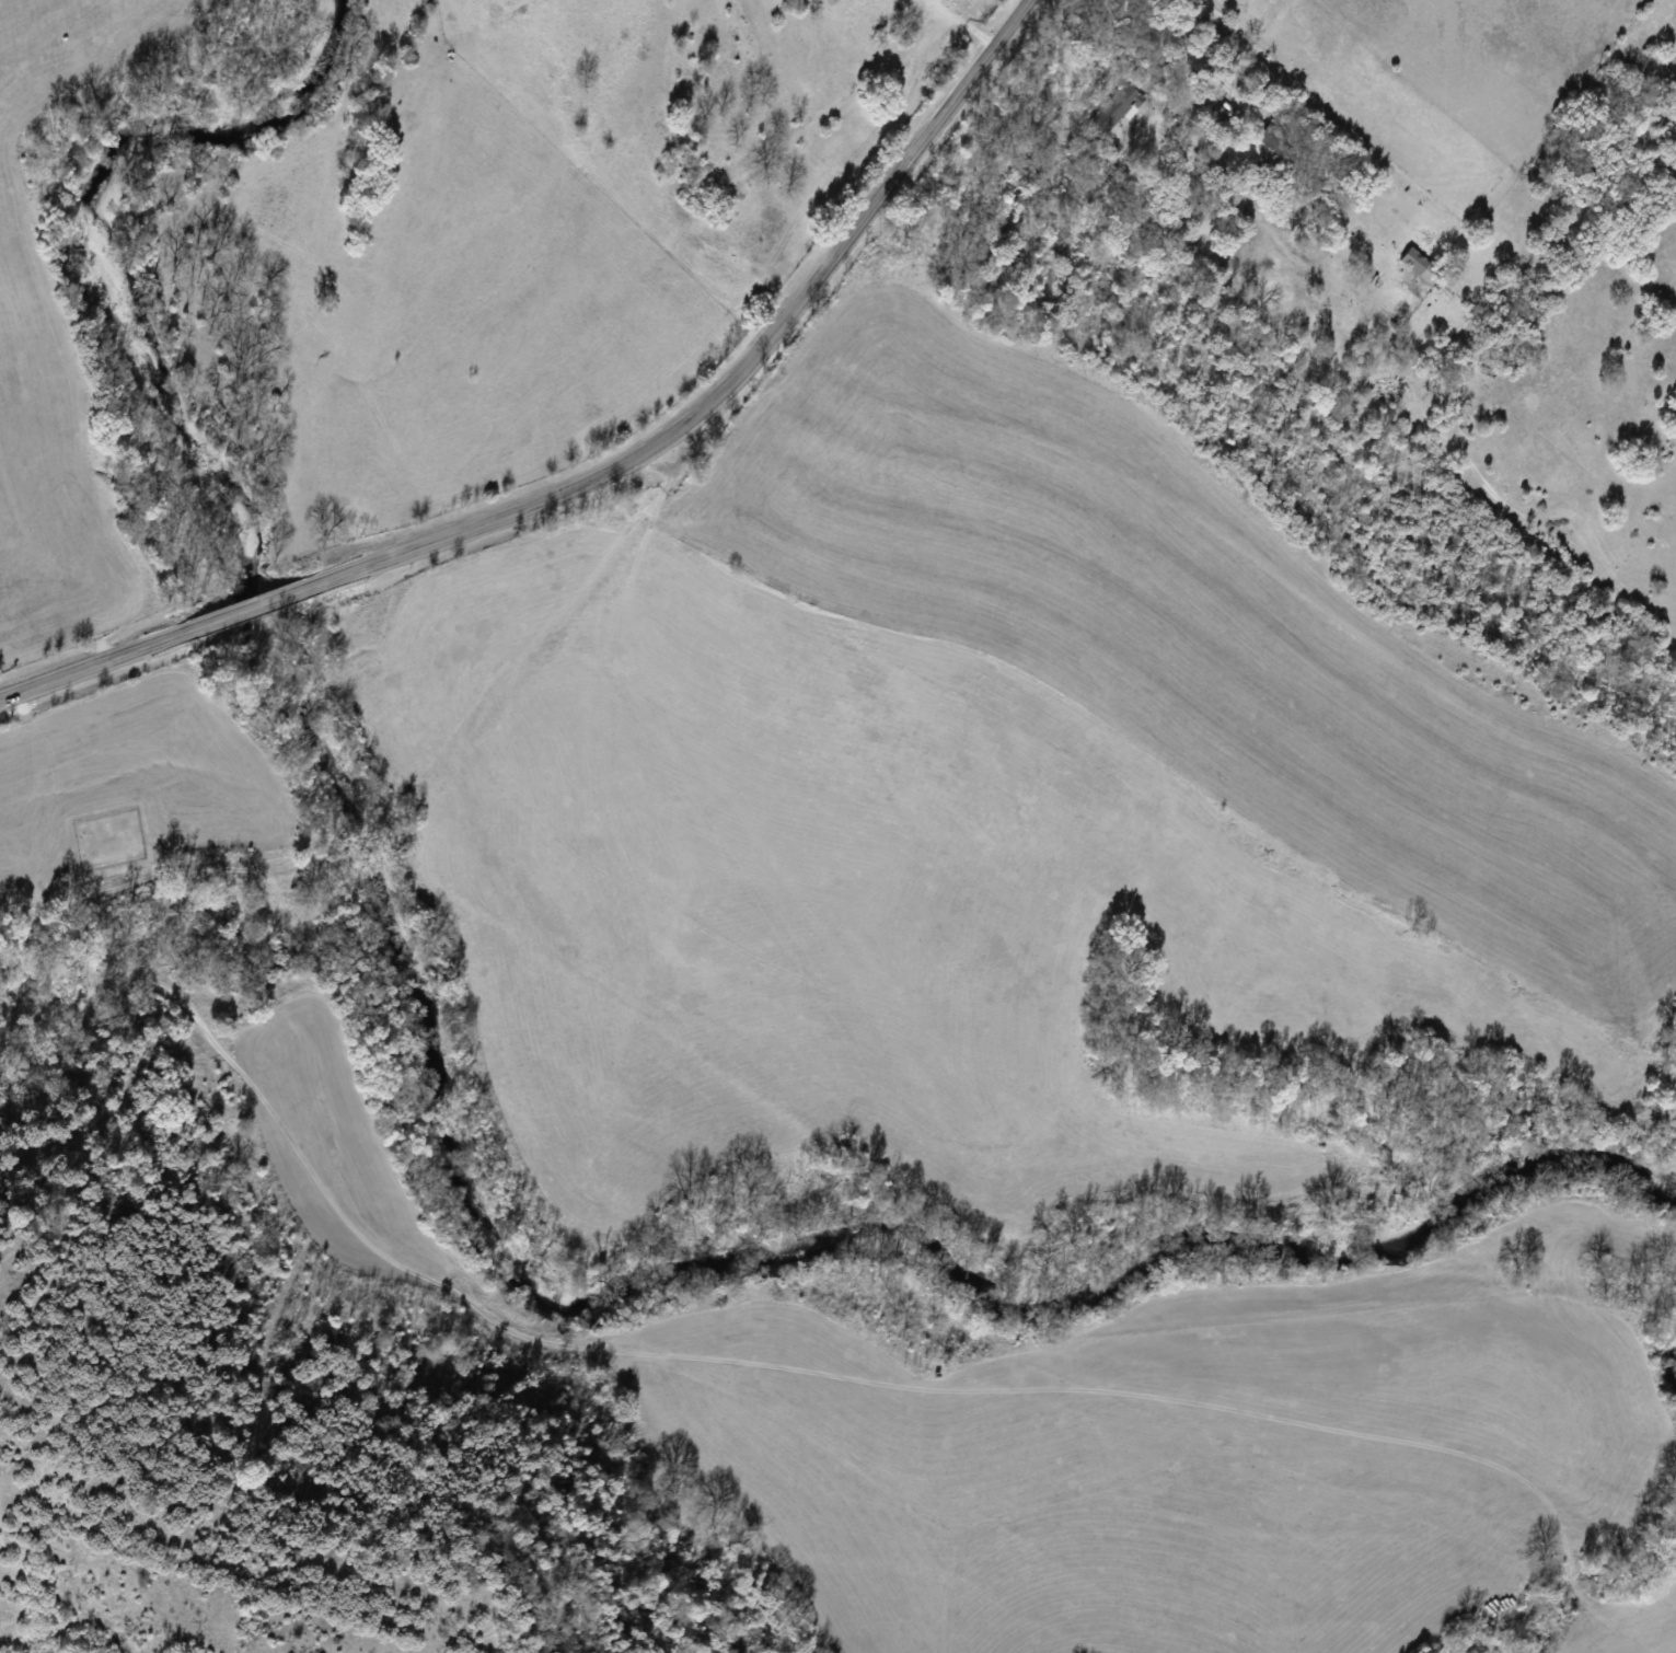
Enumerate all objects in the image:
building: (1119, 107)
building: (1273, 139)
building: (1420, 265)
road: (606, 476)

